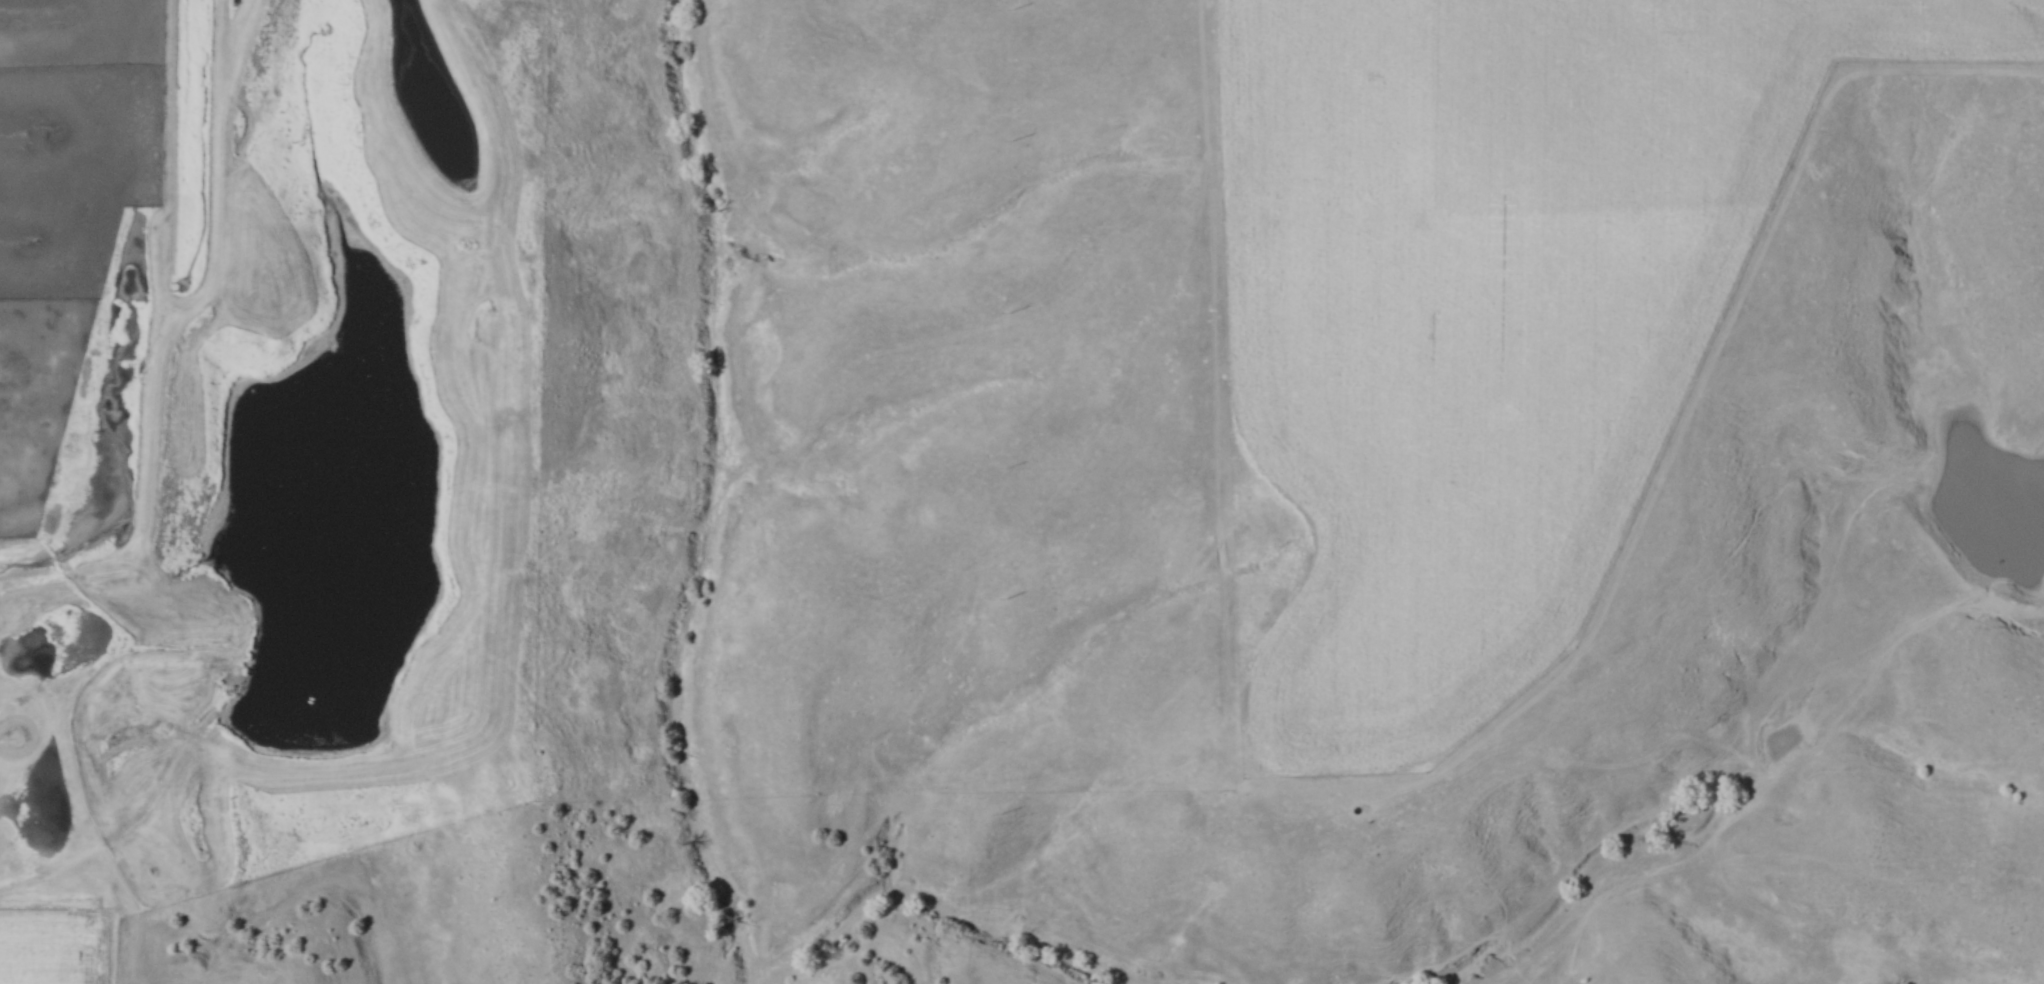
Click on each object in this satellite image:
crop: (1491, 306)

